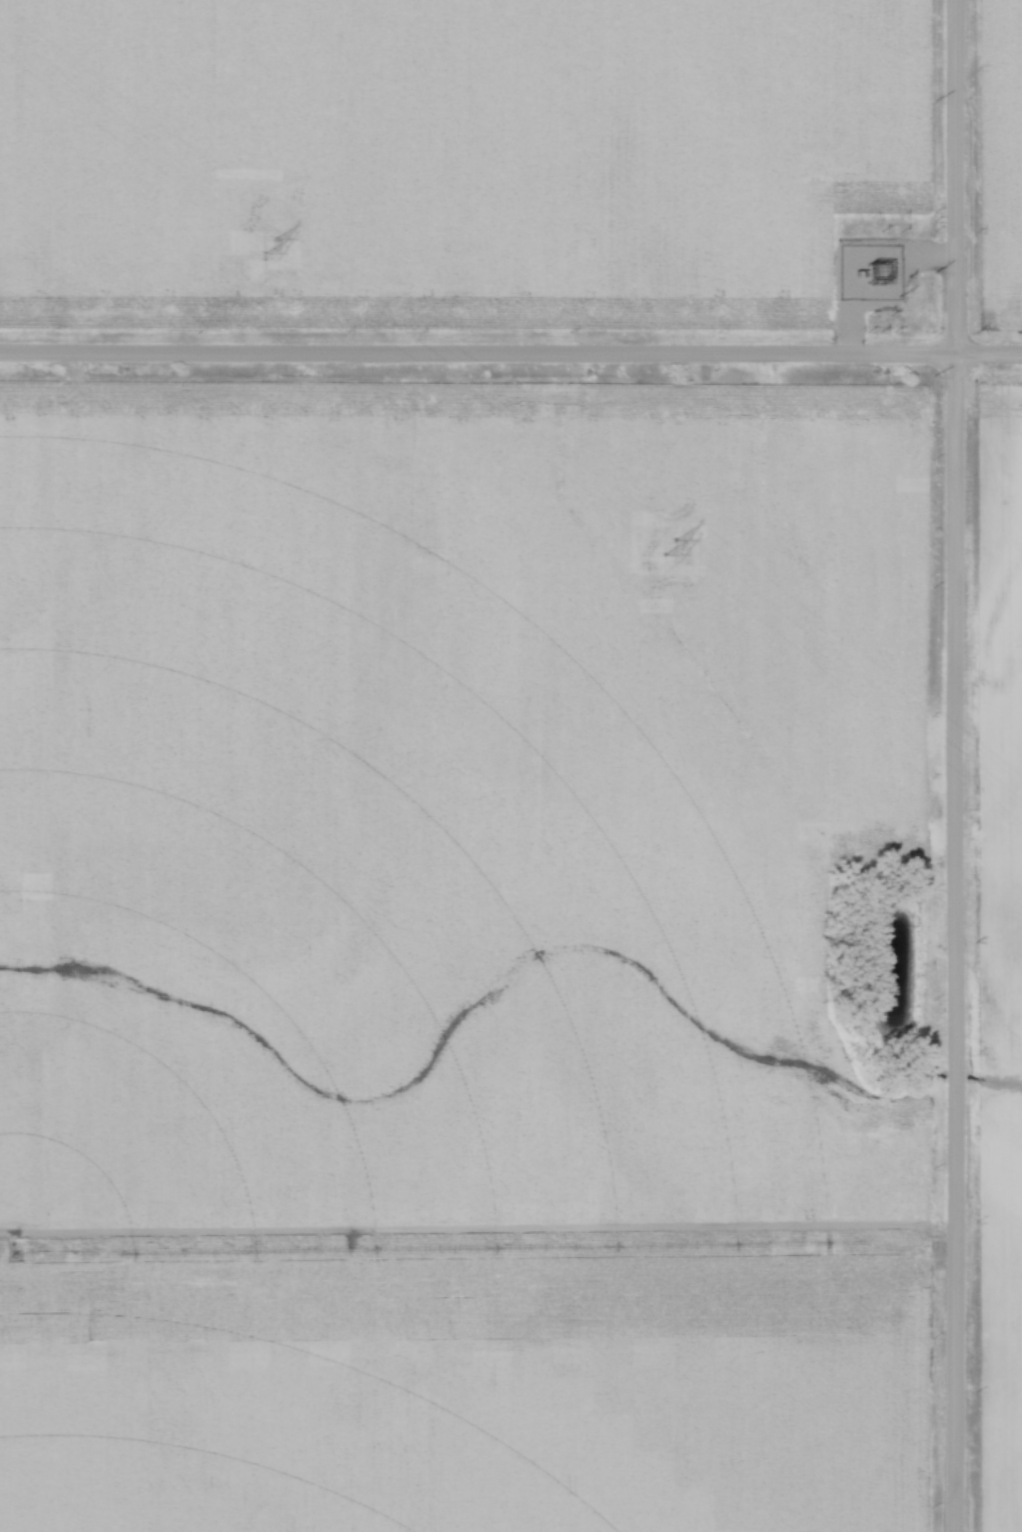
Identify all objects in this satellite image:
crop: (439, 141)
power tower: (276, 246)
road: (511, 355)
power tower: (671, 547)
road: (956, 766)

